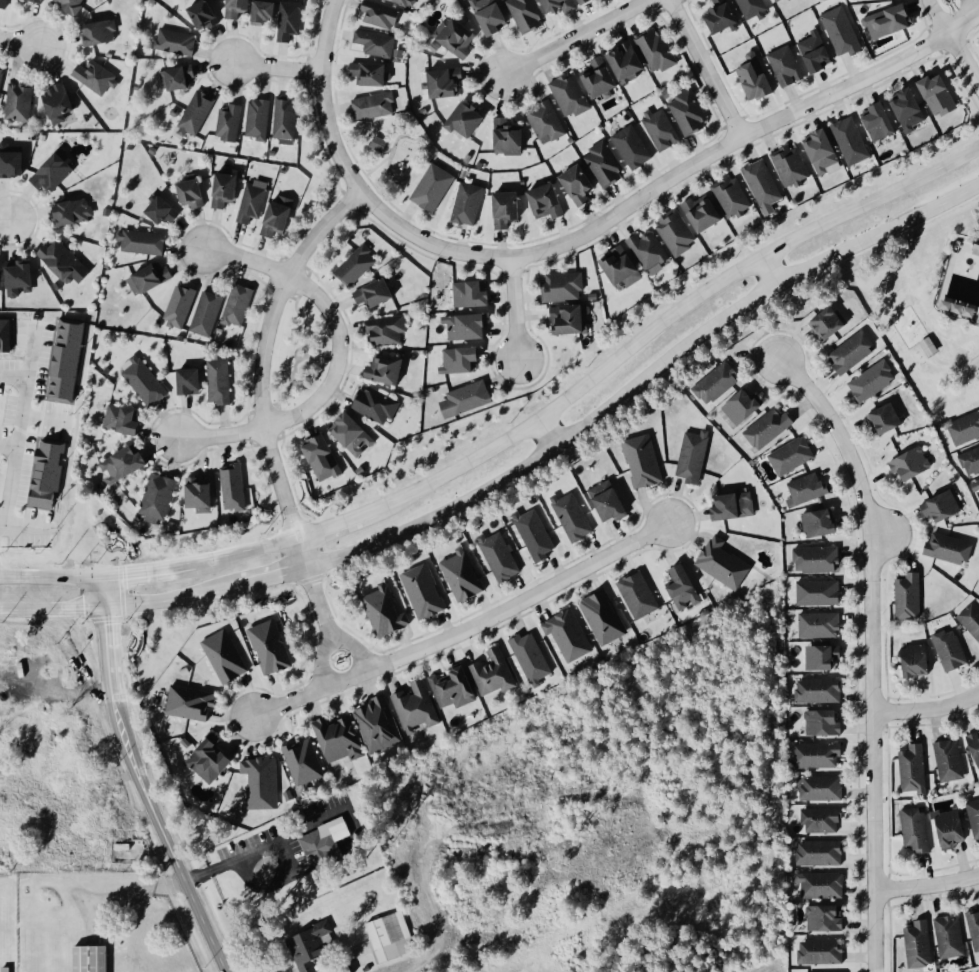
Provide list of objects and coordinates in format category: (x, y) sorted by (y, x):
building: (42, 0)
building: (583, 1)
building: (784, 1)
building: (4, 2)
building: (409, 2)
building: (71, 5)
building: (562, 5)
building: (240, 7)
road: (971, 7)
building: (753, 8)
building: (267, 11)
building: (206, 14)
building: (381, 14)
building: (528, 14)
building: (493, 15)
building: (725, 16)
road: (936, 18)
building: (290, 19)
building: (891, 20)
building: (839, 31)
building: (100, 32)
building: (460, 36)
road: (575, 38)
road: (18, 39)
building: (177, 41)
building: (376, 43)
building: (658, 50)
building: (818, 51)
building: (630, 61)
road: (962, 64)
building: (788, 65)
road: (274, 68)
road: (706, 69)
building: (372, 73)
building: (1, 75)
building: (97, 76)
building: (601, 76)
building: (179, 77)
building: (758, 78)
building: (449, 82)
building: (571, 94)
building: (941, 94)
road: (319, 99)
building: (19, 101)
building: (61, 102)
building: (375, 105)
building: (912, 109)
building: (689, 112)
building: (197, 113)
building: (287, 116)
building: (259, 118)
building: (469, 119)
building: (882, 121)
building: (230, 122)
building: (547, 122)
building: (662, 128)
building: (510, 137)
building: (851, 140)
building: (380, 142)
building: (633, 146)
building: (824, 151)
building: (13, 160)
building: (605, 164)
building: (792, 165)
building: (54, 172)
road: (669, 182)
building: (581, 183)
building: (764, 185)
building: (433, 187)
building: (226, 189)
building: (194, 193)
building: (732, 196)
building: (549, 201)
building: (253, 202)
building: (468, 203)
building: (509, 208)
building: (163, 210)
building: (73, 211)
building: (706, 212)
building: (281, 215)
road: (3, 222)
building: (676, 231)
building: (143, 241)
building: (976, 246)
building: (650, 251)
building: (62, 262)
building: (357, 265)
building: (623, 266)
road: (767, 272)
building: (1, 278)
building: (151, 278)
building: (16, 279)
building: (564, 286)
building: (377, 293)
building: (473, 294)
building: (239, 304)
building: (181, 306)
park: (921, 309)
road: (513, 311)
road: (676, 311)
building: (208, 313)
building: (571, 319)
building: (830, 323)
building: (468, 326)
building: (388, 329)
building: (4, 335)
building: (927, 347)
building: (853, 350)
building: (462, 359)
building: (65, 360)
road: (336, 360)
road: (27, 364)
building: (387, 368)
road: (643, 378)
building: (874, 380)
building: (145, 381)
building: (193, 381)
building: (221, 381)
building: (718, 383)
building: (468, 398)
building: (376, 404)
building: (744, 406)
road: (259, 409)
building: (887, 418)
building: (124, 419)
building: (770, 427)
building: (965, 428)
road: (547, 432)
building: (355, 434)
road: (13, 445)
building: (695, 455)
building: (789, 456)
building: (324, 457)
building: (645, 461)
building: (971, 461)
building: (912, 463)
building: (125, 464)
building: (49, 475)
building: (976, 484)
building: (235, 487)
building: (807, 488)
building: (203, 494)
building: (159, 497)
building: (611, 500)
building: (736, 506)
building: (944, 506)
building: (574, 516)
road: (342, 520)
building: (821, 522)
road: (883, 533)
building: (537, 534)
road: (262, 546)
building: (950, 548)
building: (501, 556)
building: (818, 558)
building: (725, 563)
road: (165, 568)
building: (463, 575)
road: (50, 577)
road: (263, 578)
building: (686, 588)
building: (424, 591)
building: (820, 592)
building: (640, 595)
building: (910, 596)
road: (162, 600)
road: (516, 603)
road: (51, 610)
building: (386, 612)
building: (604, 617)
building: (971, 617)
building: (820, 624)
building: (569, 635)
road: (332, 645)
building: (271, 647)
building: (951, 649)
road: (872, 652)
building: (226, 656)
building: (824, 657)
building: (532, 658)
building: (918, 660)
building: (494, 673)
building: (455, 688)
building: (819, 690)
road: (291, 700)
building: (192, 702)
building: (417, 706)
road: (927, 709)
building: (824, 722)
building: (378, 723)
building: (341, 739)
building: (975, 742)
building: (819, 754)
building: (212, 760)
building: (950, 760)
building: (305, 761)
building: (914, 769)
road: (139, 780)
building: (263, 782)
building: (822, 787)
building: (974, 815)
building: (823, 819)
building: (952, 827)
building: (916, 829)
building: (326, 842)
building: (821, 851)
road: (231, 862)
building: (823, 884)
road: (927, 885)
building: (826, 916)
building: (974, 928)
building: (391, 935)
building: (950, 936)
building: (919, 943)
building: (311, 946)
building: (821, 950)
building: (94, 958)

